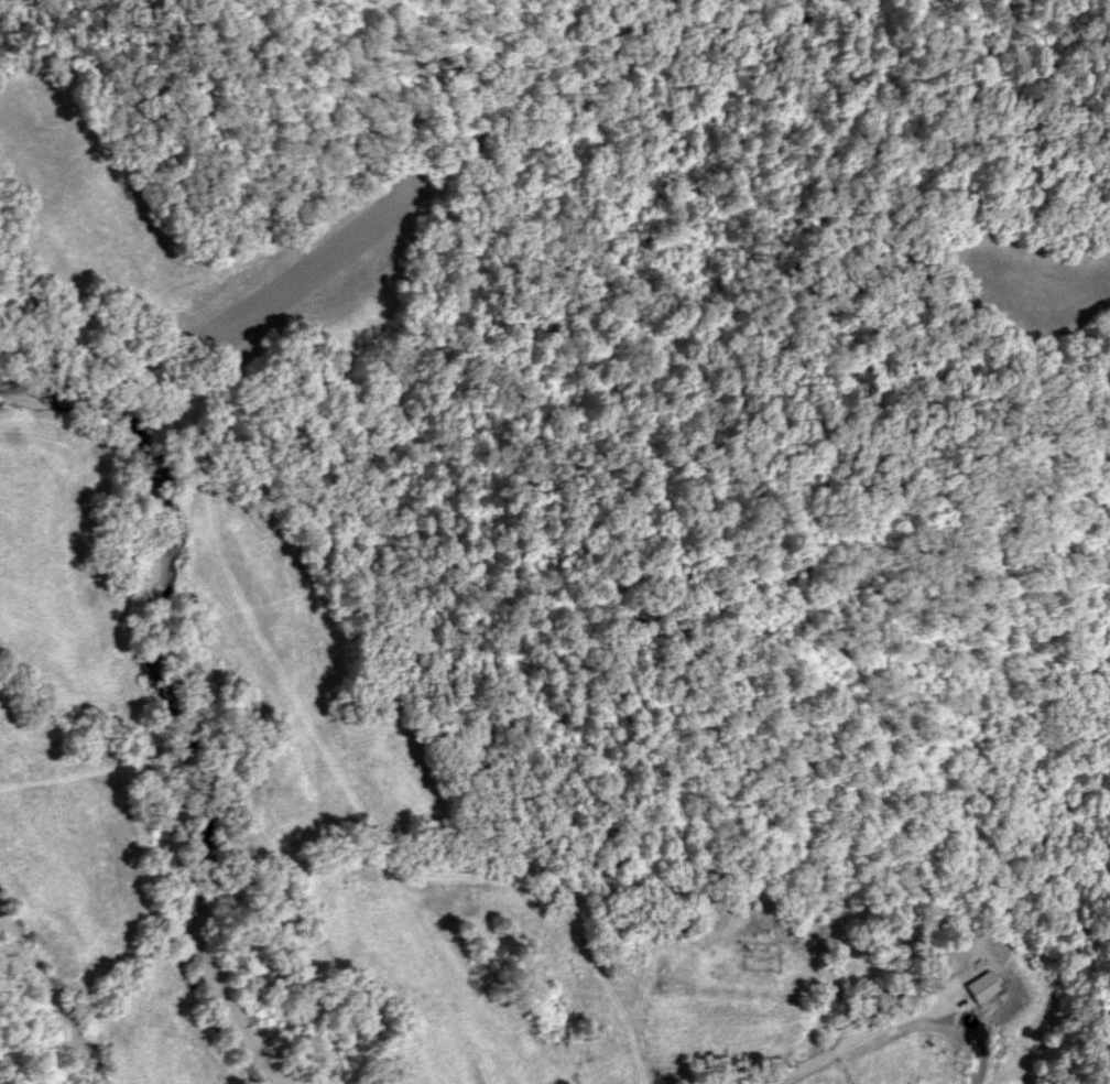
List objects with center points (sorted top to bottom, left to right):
building: (979, 985)
road: (50, 1000)
road: (841, 1044)

